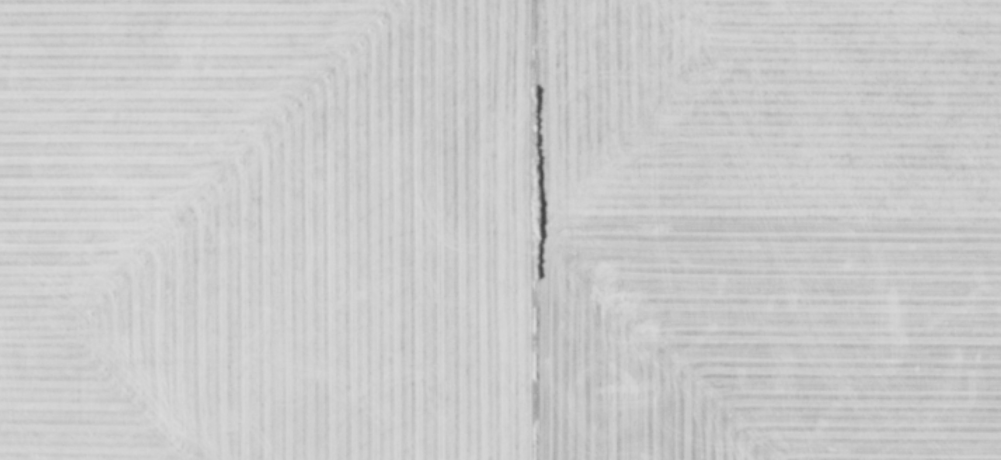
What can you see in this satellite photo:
crop: (500, 230)

